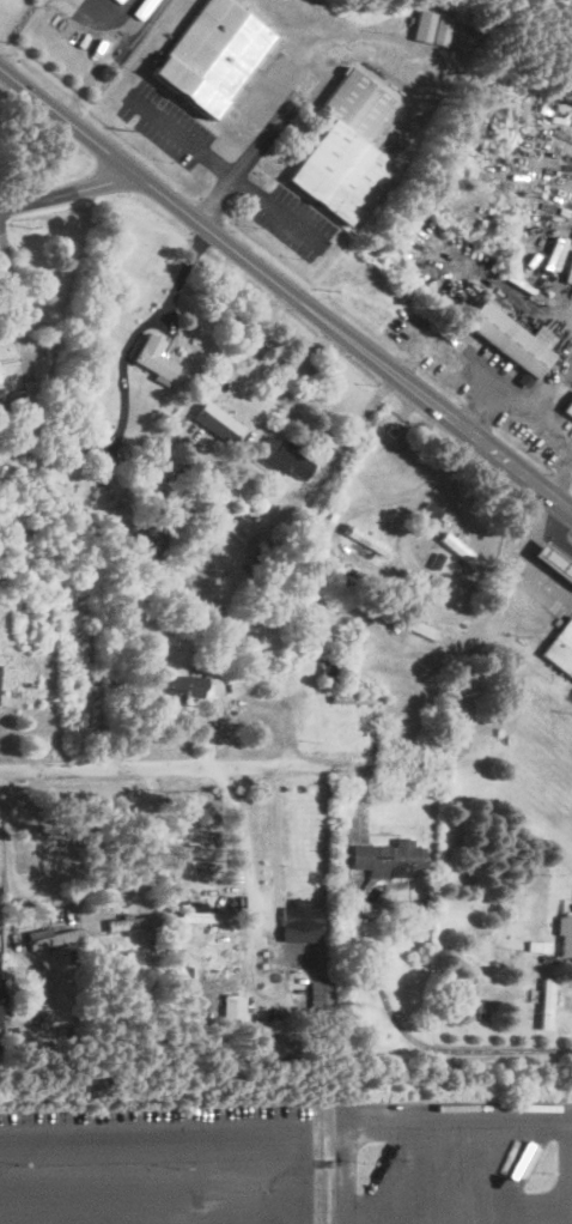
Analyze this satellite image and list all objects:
building: (431, 28)
building: (211, 55)
road: (303, 93)
building: (345, 149)
road: (229, 170)
road: (69, 190)
road: (13, 285)
road: (284, 287)
building: (506, 339)
building: (153, 358)
road: (252, 375)
road: (487, 382)
road: (553, 388)
building: (30, 392)
building: (567, 407)
road: (481, 410)
building: (217, 423)
building: (281, 456)
road: (562, 481)
road: (421, 491)
building: (366, 540)
building: (150, 544)
building: (258, 550)
building: (460, 551)
road: (523, 553)
building: (554, 562)
building: (322, 568)
building: (345, 580)
building: (172, 584)
building: (416, 628)
building: (560, 648)
building: (328, 669)
building: (177, 689)
building: (355, 697)
road: (221, 762)
road: (148, 829)
building: (388, 859)
road: (258, 893)
road: (28, 902)
building: (207, 917)
building: (130, 922)
building: (565, 935)
building: (53, 938)
building: (39, 989)
building: (318, 994)
building: (544, 1002)
road: (416, 1034)
road: (407, 1116)
parking lot: (452, 1163)
parking lot: (157, 1164)
road: (564, 1164)
road: (515, 1169)
road: (142, 1218)
road: (110, 1220)

